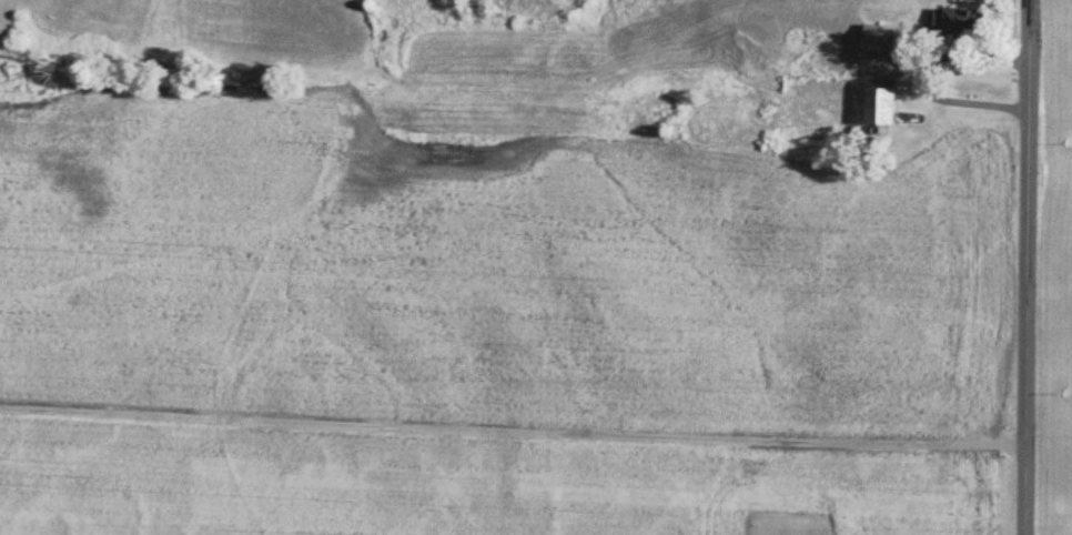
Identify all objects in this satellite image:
building: (960, 22)
building: (886, 42)
building: (888, 102)
road: (1028, 267)

